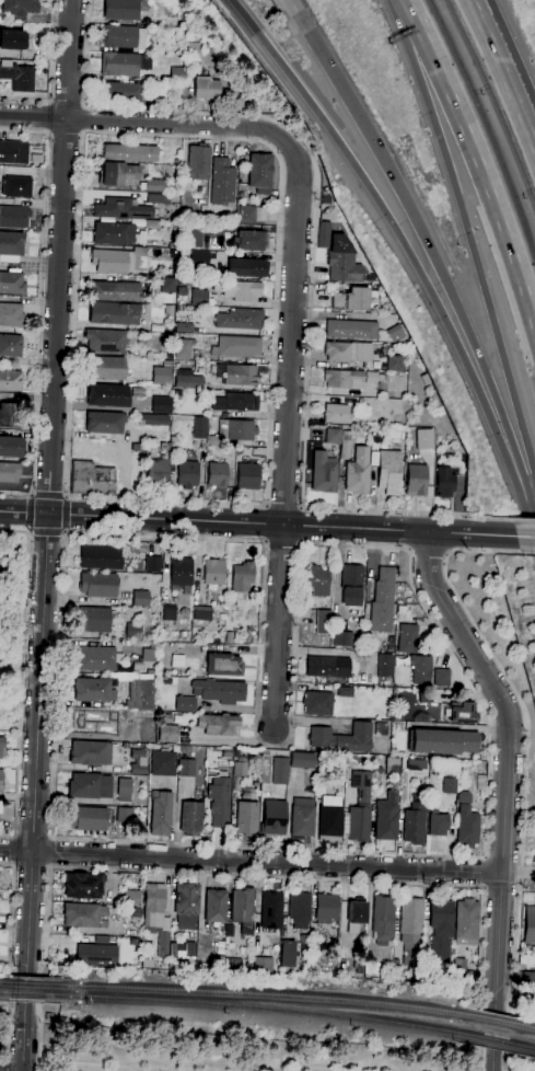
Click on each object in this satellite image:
building: (20, 7)
building: (123, 9)
road: (296, 13)
building: (124, 37)
building: (12, 39)
building: (195, 49)
building: (124, 64)
road: (511, 70)
road: (50, 74)
road: (503, 74)
building: (19, 77)
building: (173, 82)
building: (207, 88)
building: (124, 92)
railway: (493, 100)
road: (45, 116)
road: (84, 119)
road: (146, 122)
railway: (487, 123)
road: (65, 134)
building: (13, 152)
building: (130, 152)
building: (177, 161)
road: (477, 162)
building: (198, 163)
building: (260, 173)
building: (130, 177)
building: (222, 182)
building: (16, 187)
building: (159, 198)
building: (325, 199)
building: (121, 208)
road: (79, 214)
building: (246, 214)
building: (13, 217)
building: (151, 224)
building: (117, 233)
road: (467, 235)
building: (251, 240)
building: (11, 246)
road: (407, 250)
building: (160, 253)
road: (59, 256)
building: (199, 257)
building: (119, 261)
building: (342, 261)
road: (312, 262)
road: (437, 264)
building: (247, 267)
building: (370, 277)
building: (183, 280)
building: (12, 283)
building: (168, 285)
building: (239, 290)
building: (115, 291)
building: (182, 291)
building: (199, 297)
building: (351, 300)
road: (42, 306)
building: (168, 309)
building: (114, 313)
building: (11, 314)
building: (240, 319)
building: (351, 329)
building: (395, 332)
building: (105, 341)
building: (10, 345)
building: (236, 346)
building: (183, 348)
building: (384, 350)
building: (349, 352)
building: (395, 362)
building: (106, 368)
building: (162, 372)
building: (239, 373)
building: (371, 377)
building: (344, 379)
building: (426, 379)
building: (10, 381)
building: (189, 381)
building: (107, 395)
building: (236, 402)
building: (160, 404)
building: (336, 413)
building: (9, 415)
building: (152, 419)
building: (104, 422)
building: (200, 427)
road: (270, 429)
building: (233, 430)
building: (144, 434)
road: (287, 435)
building: (334, 436)
building: (422, 438)
building: (173, 439)
building: (346, 444)
building: (163, 446)
building: (10, 447)
building: (162, 468)
building: (389, 471)
building: (9, 472)
building: (324, 472)
building: (358, 472)
building: (187, 474)
building: (217, 474)
building: (247, 475)
building: (92, 479)
building: (416, 480)
building: (445, 481)
road: (34, 494)
road: (49, 495)
road: (65, 496)
road: (28, 497)
road: (67, 497)
road: (284, 503)
road: (28, 513)
road: (67, 514)
road: (523, 520)
road: (257, 523)
road: (16, 531)
road: (67, 531)
road: (48, 532)
road: (65, 532)
road: (525, 537)
road: (281, 541)
road: (429, 551)
road: (527, 553)
building: (101, 557)
building: (152, 564)
building: (181, 571)
building: (213, 572)
building: (2, 574)
building: (242, 576)
building: (318, 580)
building: (98, 585)
building: (351, 585)
building: (233, 596)
building: (140, 598)
building: (383, 601)
building: (168, 612)
building: (202, 613)
building: (94, 619)
building: (323, 621)
park: (14, 629)
building: (132, 631)
building: (407, 637)
building: (342, 638)
building: (154, 645)
road: (258, 658)
building: (101, 659)
building: (223, 665)
building: (385, 665)
building: (328, 667)
building: (421, 668)
building: (441, 678)
road: (21, 690)
building: (219, 690)
building: (345, 691)
building: (94, 694)
building: (185, 703)
building: (317, 703)
building: (463, 713)
building: (166, 718)
building: (92, 724)
building: (219, 724)
building: (381, 729)
building: (168, 734)
road: (37, 736)
building: (146, 736)
building: (342, 737)
building: (443, 741)
building: (2, 747)
building: (90, 752)
building: (302, 760)
building: (138, 761)
building: (163, 763)
road: (524, 763)
building: (392, 765)
building: (185, 768)
building: (241, 768)
building: (280, 771)
building: (1, 780)
road: (507, 780)
building: (480, 782)
building: (90, 785)
building: (450, 785)
building: (125, 790)
building: (464, 797)
building: (219, 801)
building: (359, 809)
building: (160, 813)
building: (124, 816)
building: (247, 817)
building: (274, 817)
building: (302, 817)
building: (88, 818)
building: (190, 818)
building: (329, 818)
building: (386, 818)
building: (438, 822)
building: (415, 824)
building: (466, 827)
road: (336, 849)
road: (12, 851)
road: (49, 852)
road: (251, 862)
road: (481, 872)
road: (519, 873)
road: (258, 877)
building: (82, 885)
building: (131, 897)
building: (186, 905)
building: (242, 905)
building: (216, 906)
building: (325, 909)
building: (271, 910)
building: (299, 910)
building: (136, 912)
building: (84, 914)
building: (156, 915)
building: (356, 915)
building: (383, 917)
building: (466, 920)
building: (528, 924)
building: (441, 928)
building: (410, 929)
building: (230, 930)
building: (182, 951)
building: (94, 954)
building: (288, 954)
road: (12, 959)
building: (228, 961)
building: (147, 963)
building: (261, 964)
building: (371, 971)
building: (461, 974)
building: (386, 977)
building: (528, 979)
railway: (4, 982)
railway: (25, 984)
road: (26, 984)
railway: (3, 993)
railway: (24, 994)
railway: (259, 994)
railway: (258, 1007)
railway: (493, 1021)
railway: (523, 1026)
road: (24, 1040)
railway: (492, 1041)
railway: (523, 1047)
park: (229, 1051)
road: (493, 1061)
road: (4, 1066)
road: (39, 1067)

